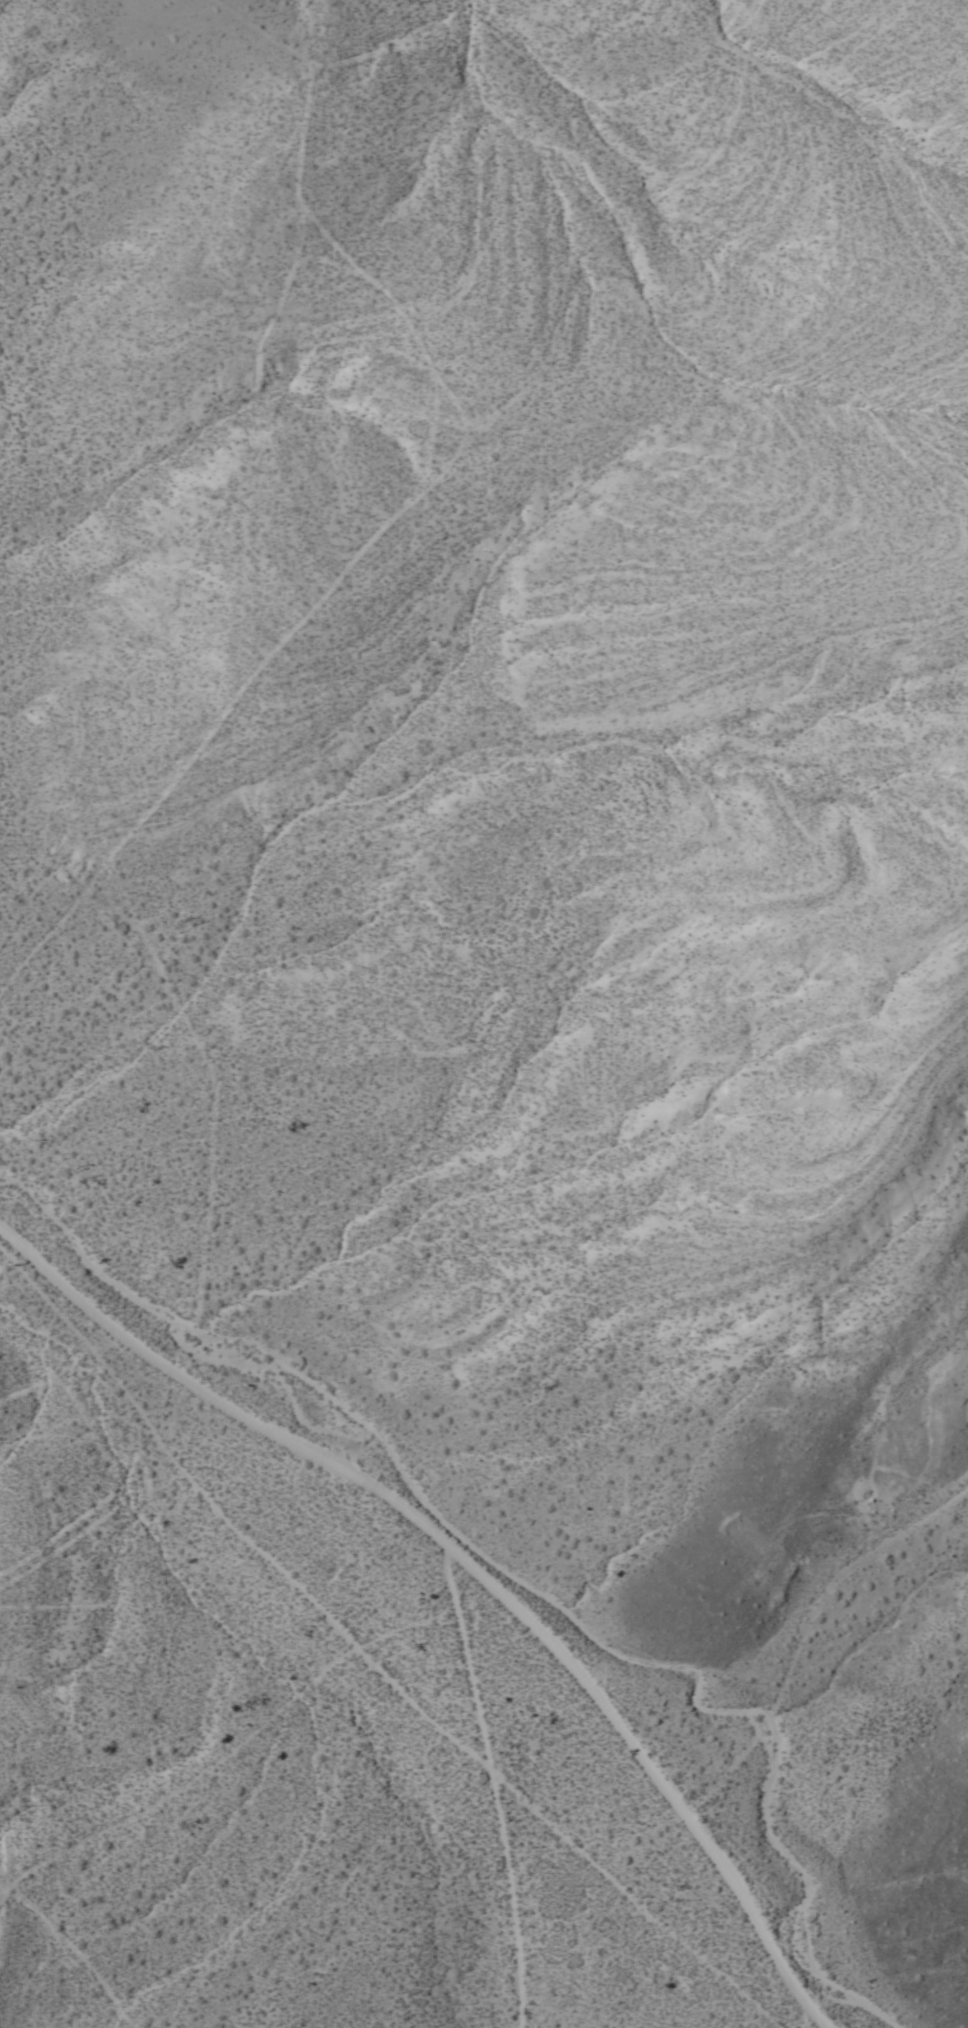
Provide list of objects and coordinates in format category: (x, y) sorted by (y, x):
road: (472, 1568)

